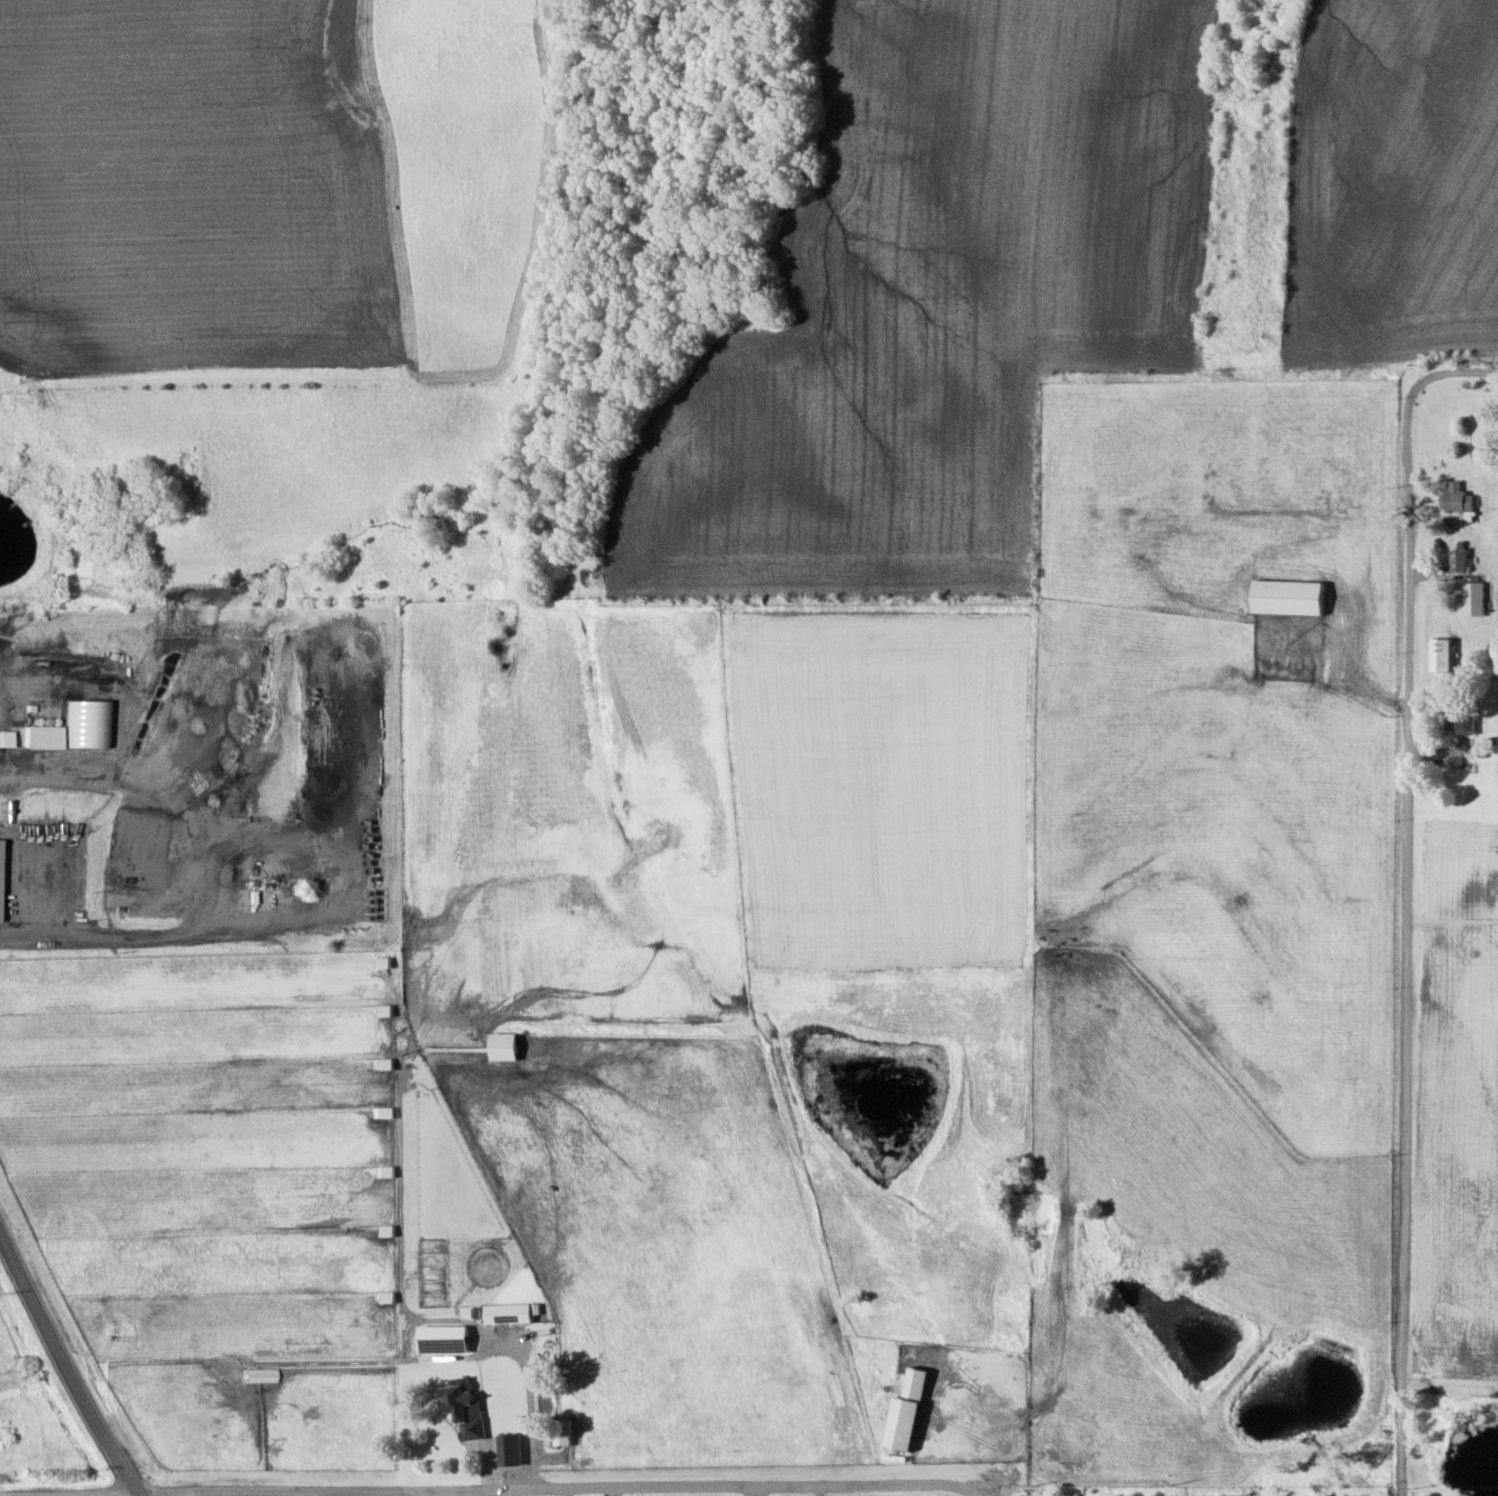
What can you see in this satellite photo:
crop: (1389, 180)
crop: (930, 301)
building: (1458, 499)
building: (1458, 560)
building: (1288, 597)
building: (1472, 599)
building: (1440, 655)
building: (1462, 721)
building: (84, 725)
building: (39, 737)
building: (117, 899)
road: (1409, 901)
road: (1453, 921)
building: (380, 961)
building: (501, 1046)
building: (507, 1313)
building: (442, 1338)
road: (68, 1365)
building: (257, 1374)
building: (465, 1407)
building: (904, 1410)
building: (562, 1431)
building: (510, 1448)
road: (555, 1490)
road: (320, 1492)
building: (1033, 1492)
road: (753, 1493)
road: (99, 1494)

